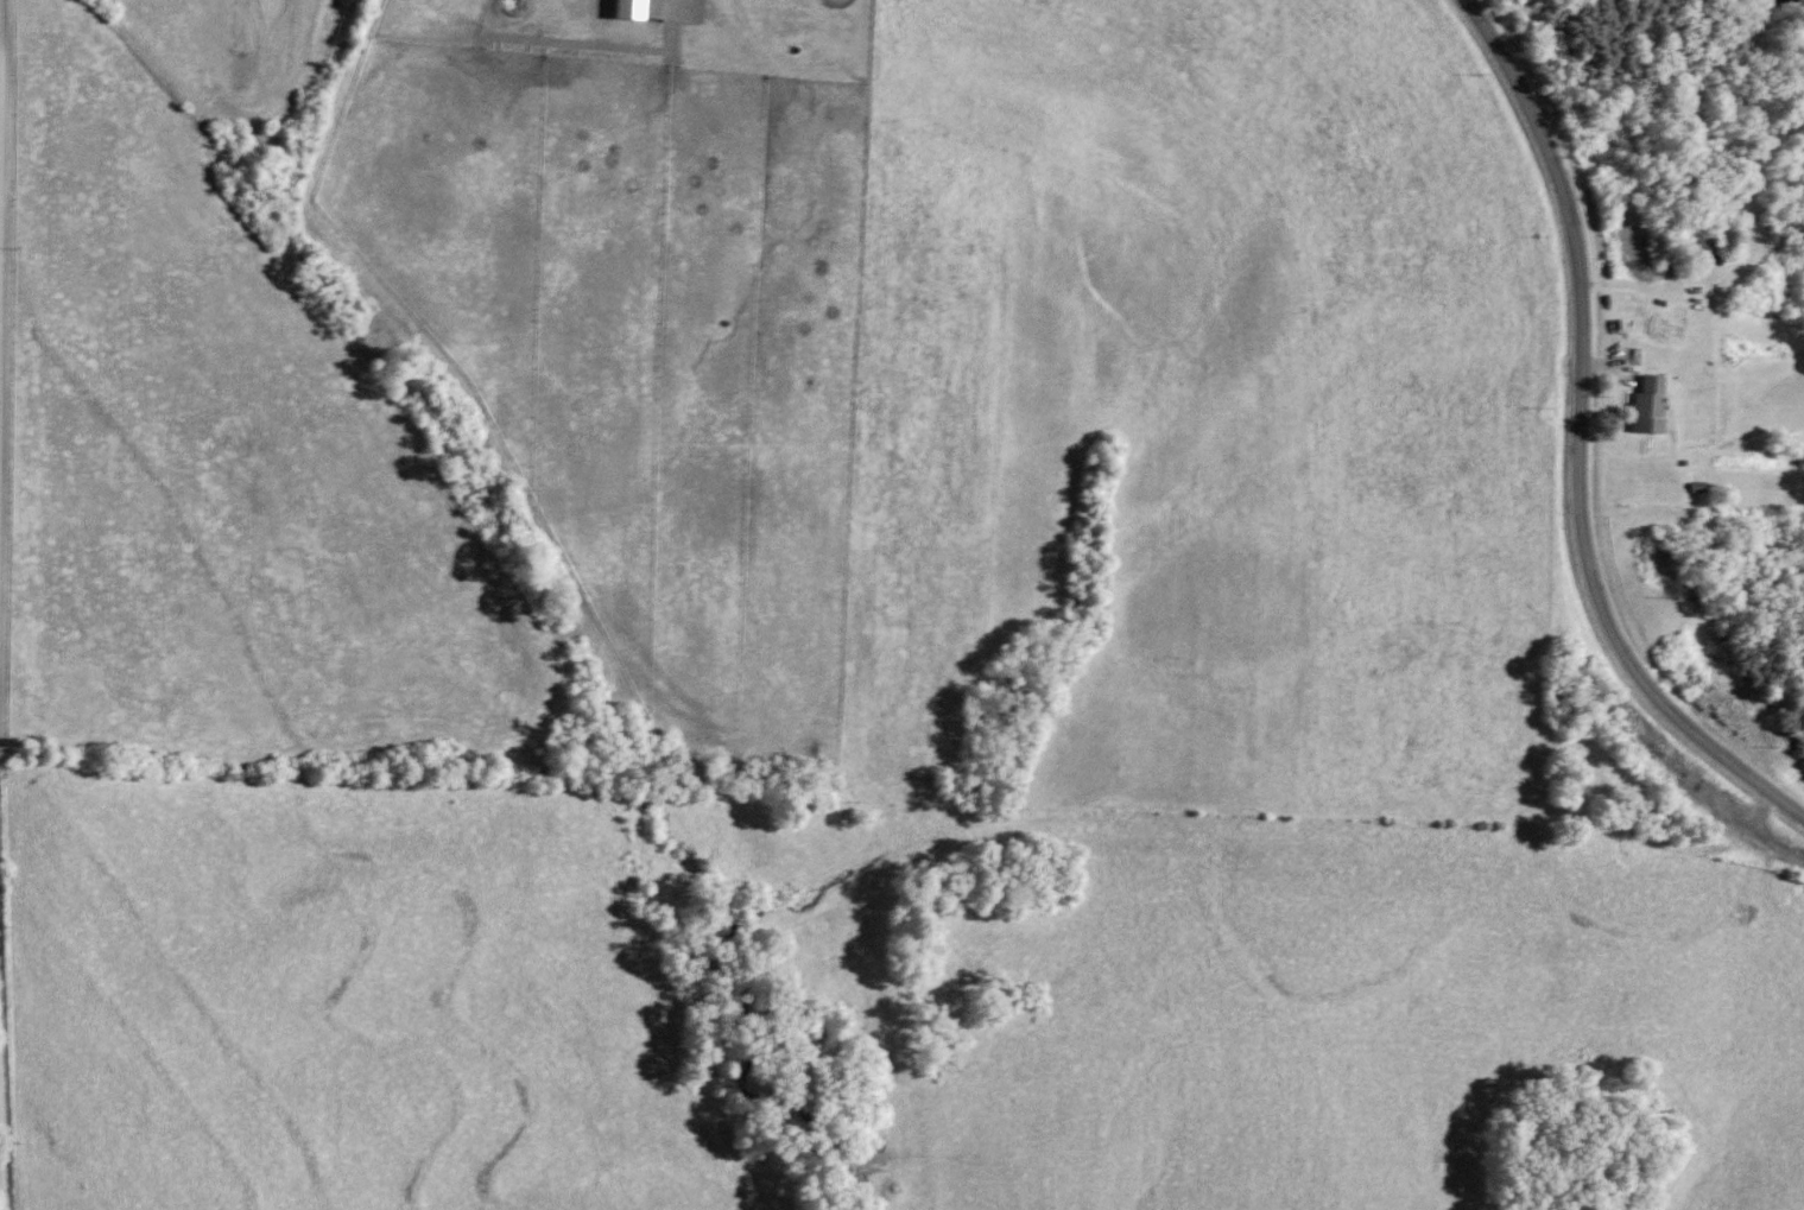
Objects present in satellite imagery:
road: (0, 133)
building: (1794, 226)
building: (1647, 405)
road: (1580, 441)
road: (0, 1119)
road: (2, 1155)

